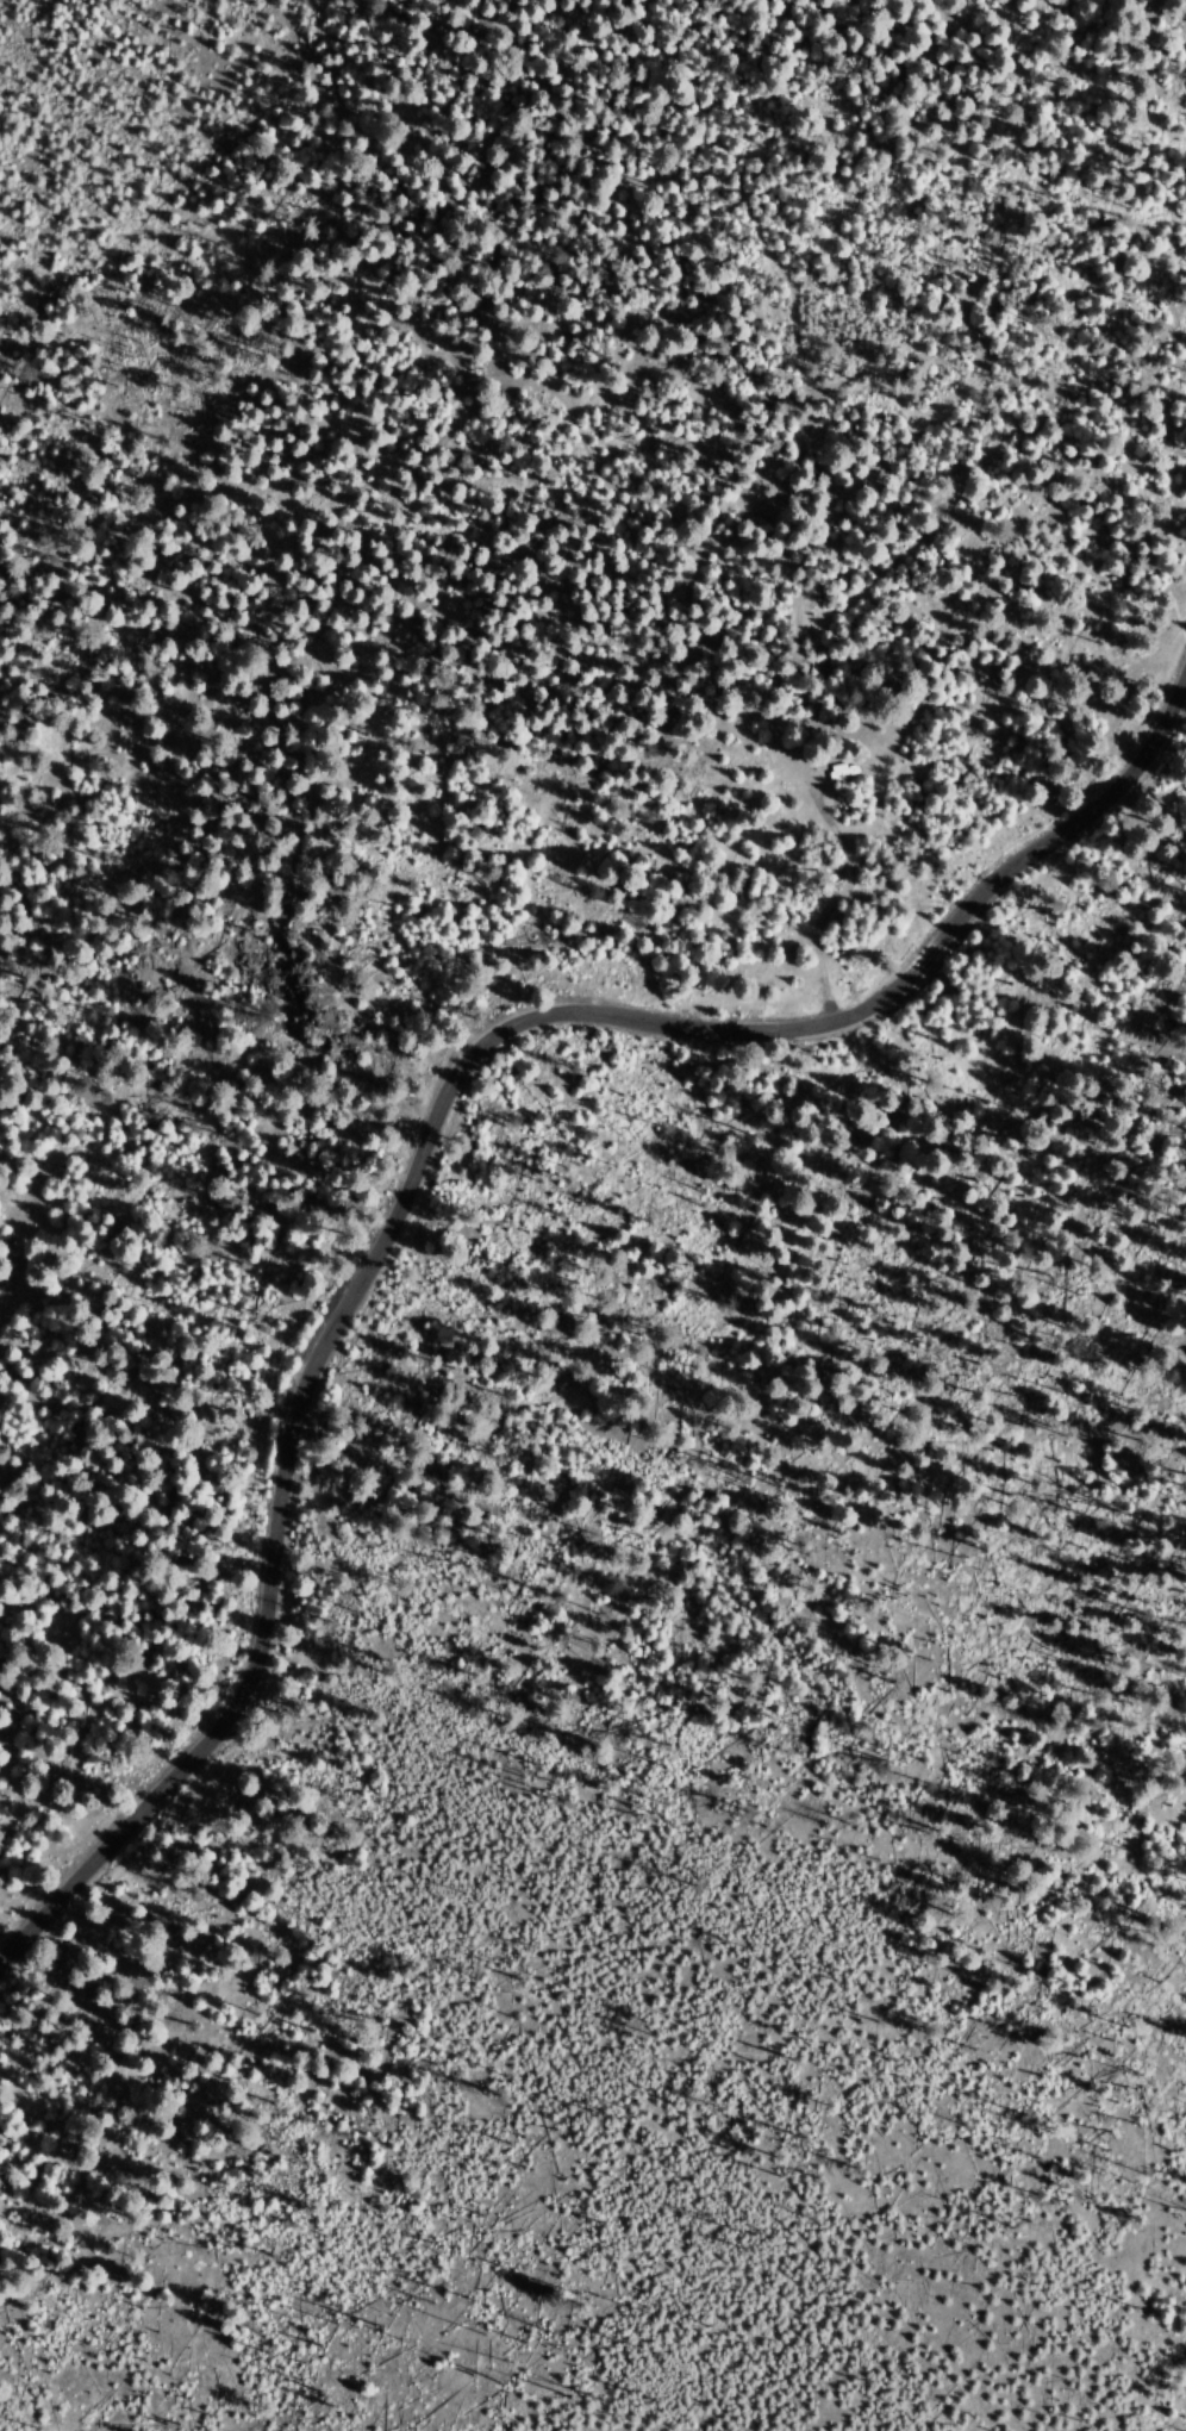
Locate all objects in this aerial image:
road: (430, 1136)

